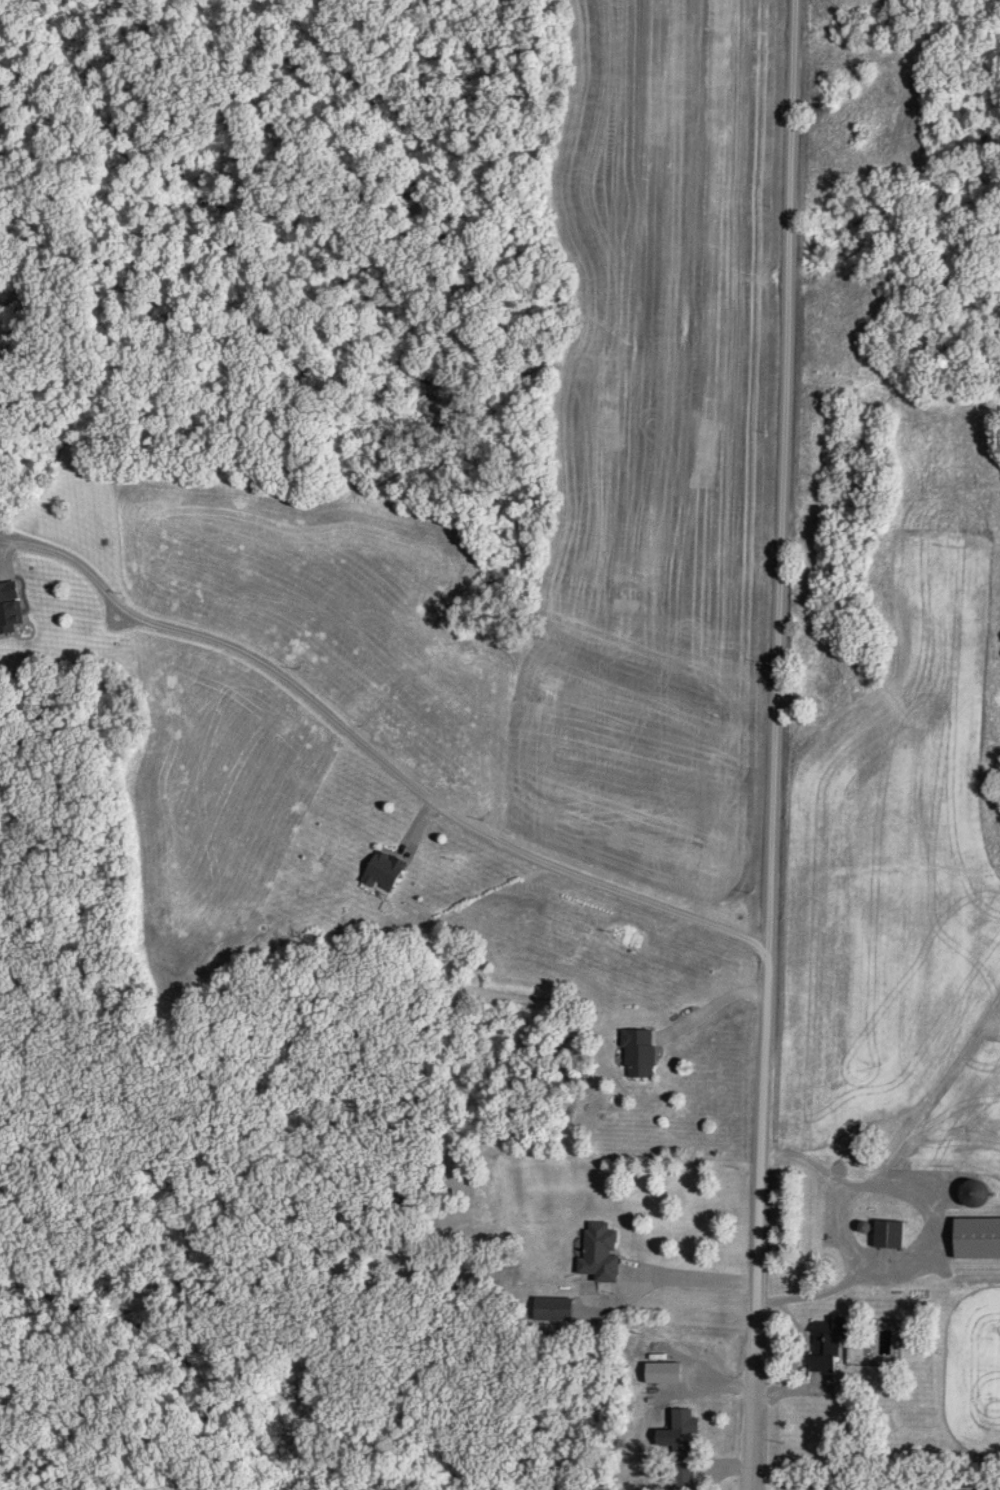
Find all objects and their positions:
road: (80, 563)
building: (10, 607)
road: (773, 744)
road: (439, 810)
crop: (894, 863)
building: (385, 873)
road: (711, 1006)
building: (641, 1053)
crop: (971, 1104)
building: (977, 1193)
road: (837, 1208)
building: (891, 1234)
building: (979, 1237)
building: (602, 1252)
road: (667, 1278)
building: (555, 1308)
building: (829, 1343)
crop: (971, 1372)
building: (686, 1447)
building: (989, 1487)

